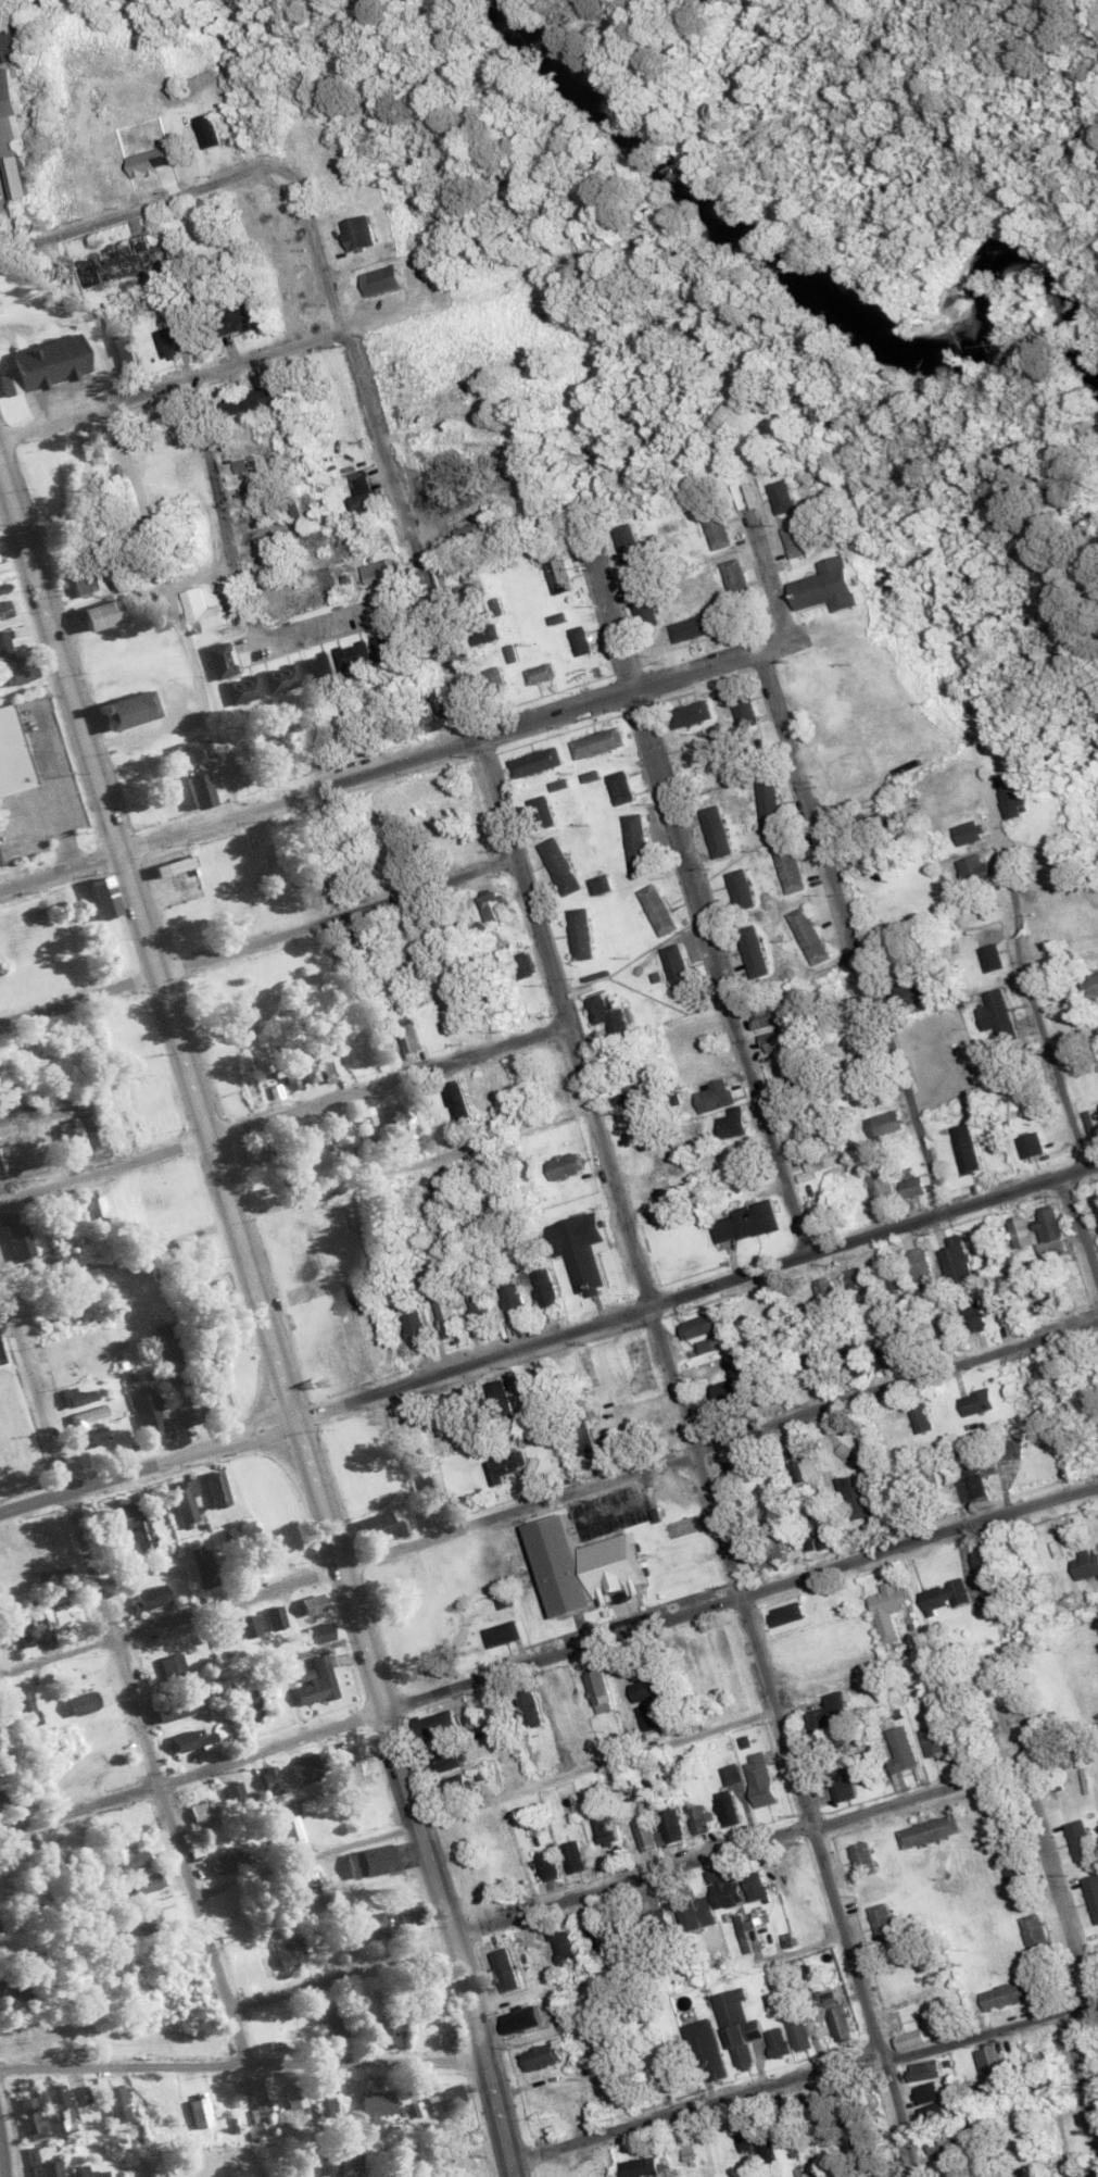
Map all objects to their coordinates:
road: (138, 204)
road: (78, 316)
road: (200, 372)
road: (219, 496)
road: (769, 570)
road: (411, 760)
road: (1055, 859)
road: (703, 905)
road: (848, 933)
road: (258, 941)
road: (1023, 976)
road: (283, 1110)
road: (611, 1163)
road: (317, 1193)
road: (1082, 1224)
road: (264, 1321)
road: (547, 1333)
road: (550, 1498)
road: (548, 1653)
road: (119, 1673)
road: (483, 1799)
road: (660, 1869)
road: (1055, 1880)
road: (992, 2026)
road: (243, 2056)
road: (1080, 2068)
road: (696, 2102)
road: (1, 2160)

